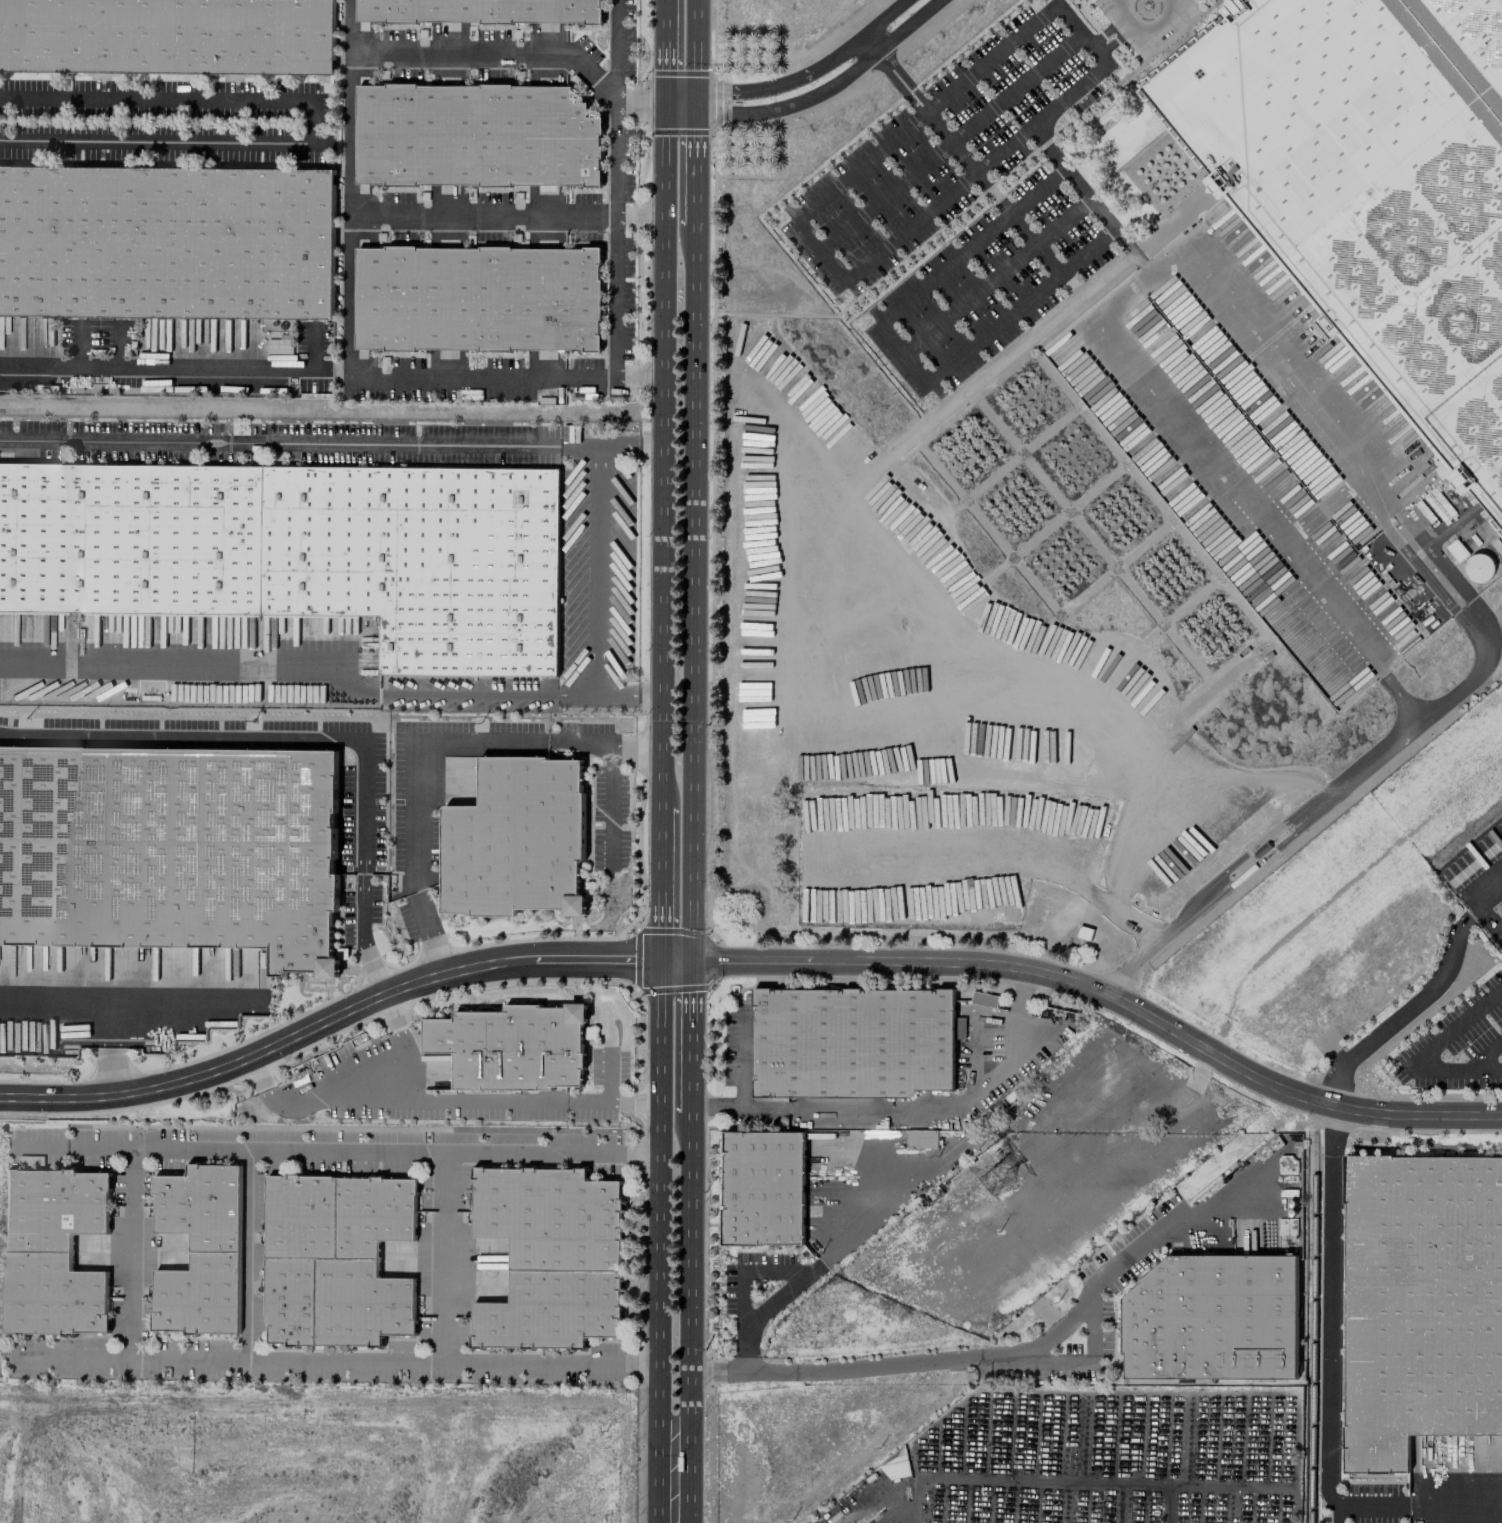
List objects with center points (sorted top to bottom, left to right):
road: (1123, 0)
building: (478, 10)
road: (664, 20)
road: (1107, 29)
road: (1145, 29)
building: (168, 36)
road: (1116, 39)
road: (617, 50)
road: (692, 51)
road: (493, 54)
road: (664, 70)
road: (898, 77)
road: (806, 86)
road: (640, 100)
traffic signals: (664, 101)
road: (315, 120)
road: (692, 129)
building: (474, 136)
road: (950, 141)
road: (1072, 178)
building: (1372, 186)
road: (693, 190)
road: (992, 193)
road: (482, 214)
road: (640, 214)
road: (615, 238)
road: (810, 239)
building: (166, 242)
road: (1133, 252)
road: (996, 276)
road: (1127, 295)
building: (476, 298)
road: (347, 332)
road: (902, 353)
road: (173, 365)
road: (647, 375)
road: (279, 440)
road: (599, 442)
road: (651, 442)
road: (662, 454)
building: (299, 552)
building: (1478, 567)
road: (595, 580)
road: (693, 593)
road: (278, 675)
road: (246, 734)
road: (635, 743)
road: (418, 766)
road: (1329, 793)
road: (609, 803)
building: (515, 839)
building: (171, 850)
road: (661, 857)
road: (660, 932)
road: (361, 936)
traffic signals: (660, 959)
road: (755, 961)
road: (1124, 976)
road: (690, 987)
road: (1021, 990)
road: (1418, 1001)
road: (67, 1012)
building: (854, 1042)
building: (511, 1047)
road: (1427, 1048)
road: (1485, 1054)
road: (742, 1059)
road: (690, 1060)
road: (110, 1070)
road: (608, 1077)
road: (268, 1090)
road: (357, 1097)
road: (612, 1103)
road: (737, 1108)
road: (928, 1108)
building: (921, 1138)
road: (78, 1148)
power tower: (996, 1183)
building: (762, 1188)
road: (659, 1241)
building: (199, 1250)
building: (53, 1251)
road: (1127, 1255)
road: (128, 1256)
building: (549, 1256)
road: (249, 1257)
road: (443, 1258)
building: (335, 1259)
road: (806, 1269)
road: (777, 1298)
building: (1419, 1303)
road: (688, 1315)
building: (1211, 1318)
landfill: (321, 1324)
railway: (1312, 1329)
road: (71, 1358)
road: (838, 1368)
road: (1325, 1390)
building: (895, 1470)
road: (1039, 1481)
road: (1230, 1487)
road: (880, 1501)

